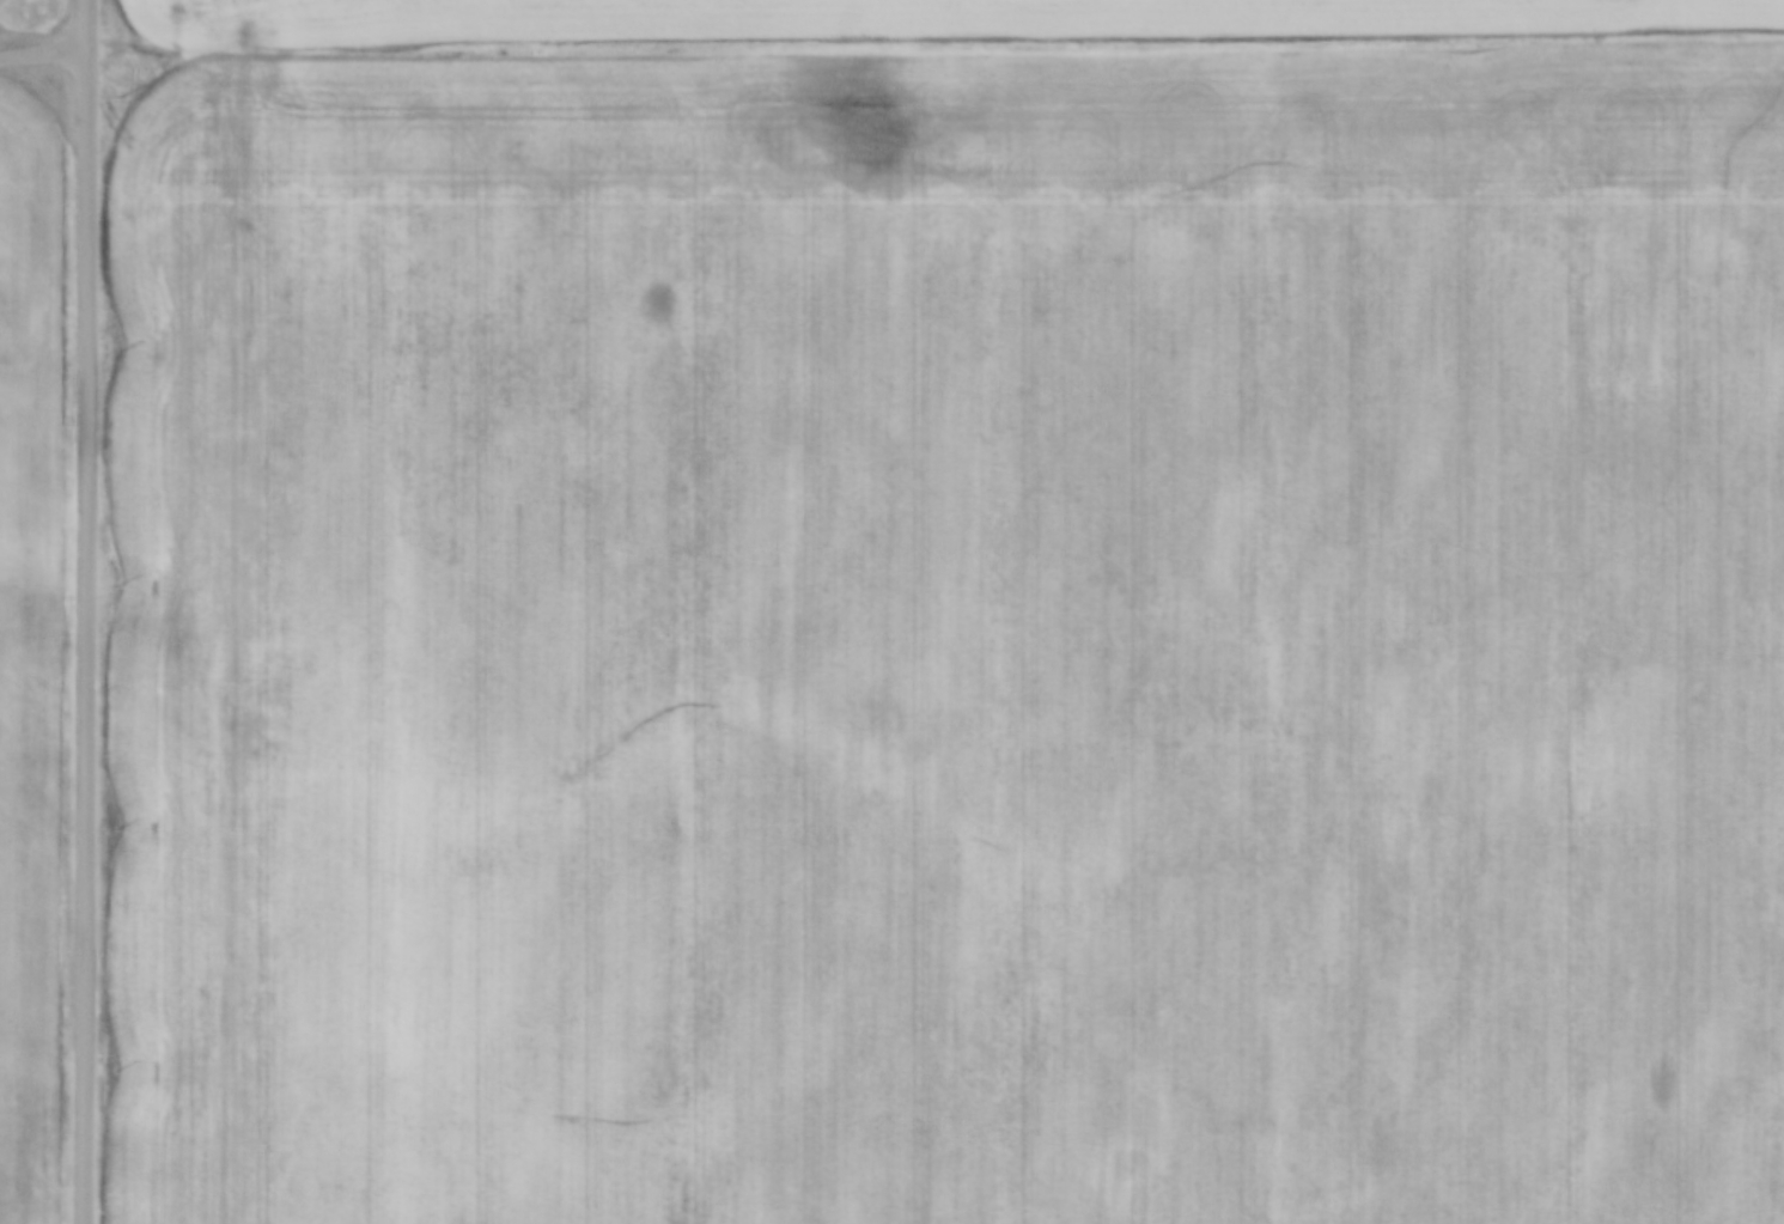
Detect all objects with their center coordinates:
road: (45, 54)
road: (91, 611)

